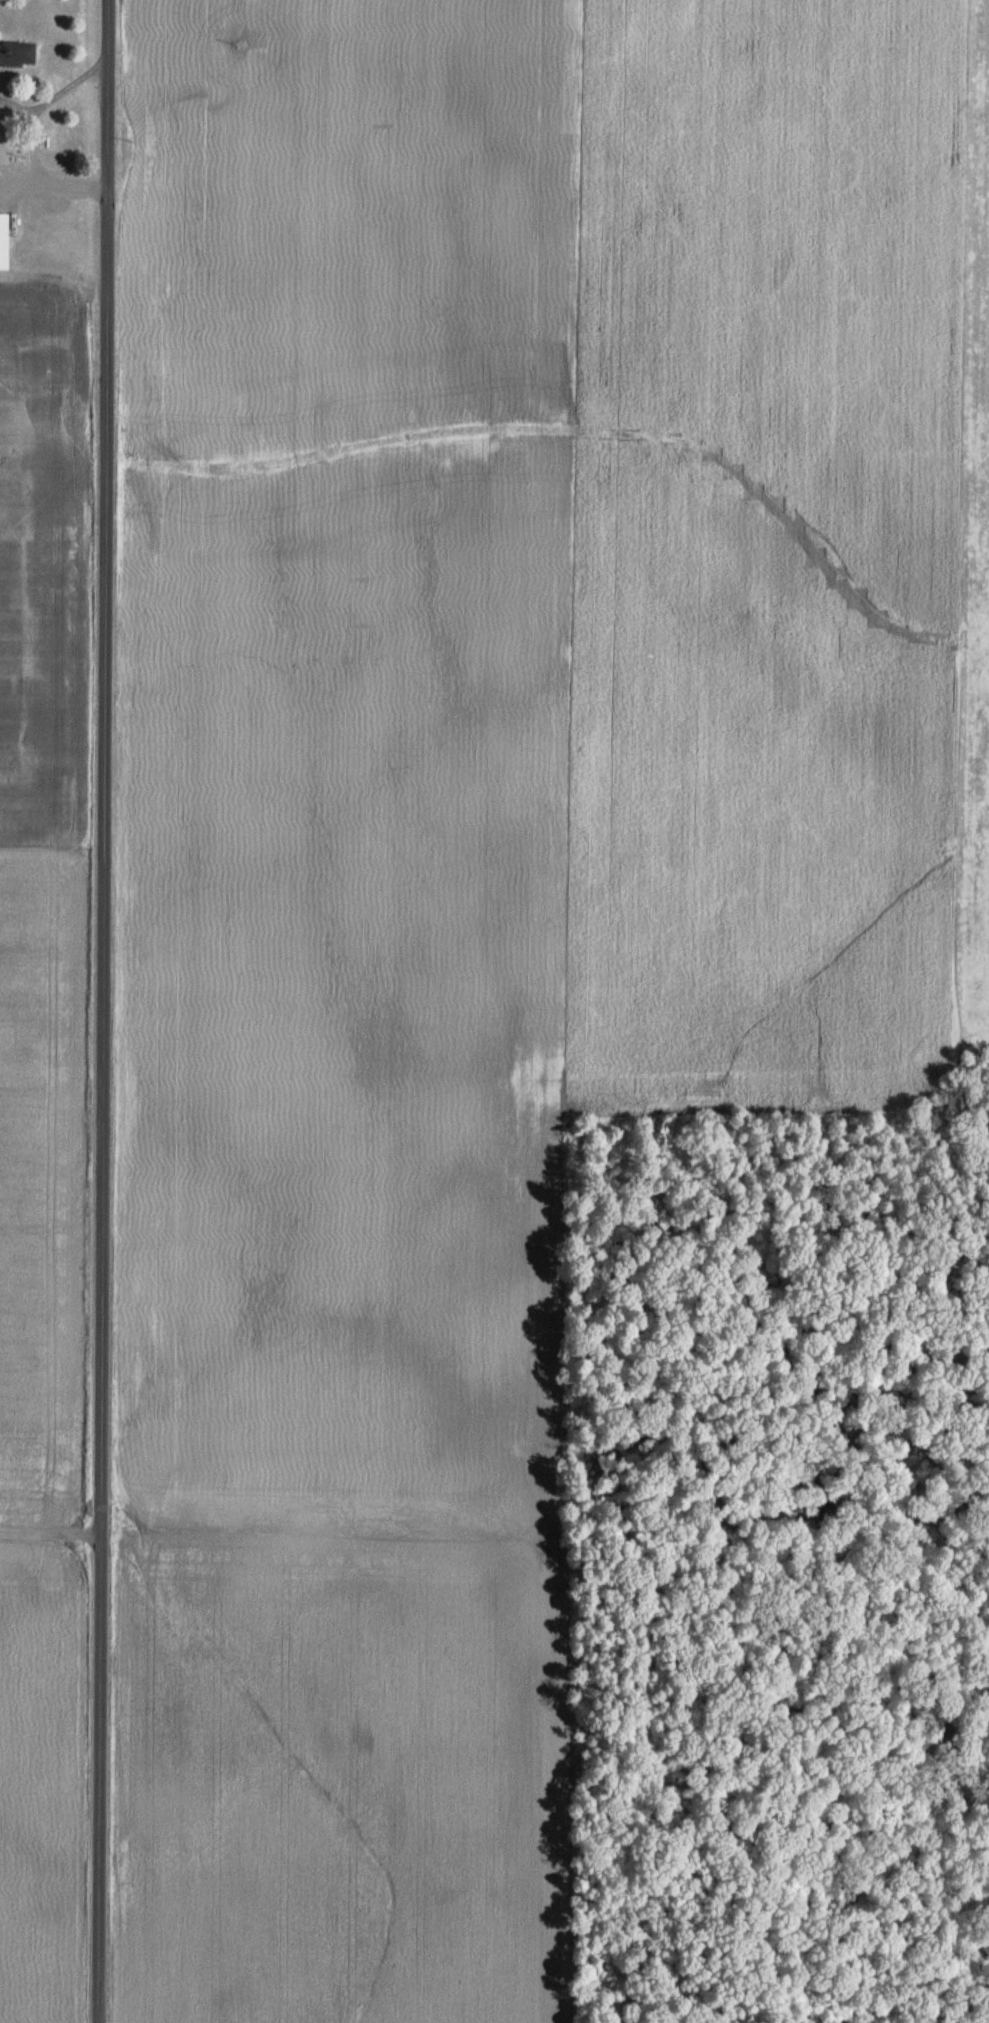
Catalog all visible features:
building: (19, 51)
building: (0, 70)
road: (56, 92)
road: (35, 179)
building: (56, 196)
building: (5, 239)
road: (102, 1011)
road: (50, 1533)

